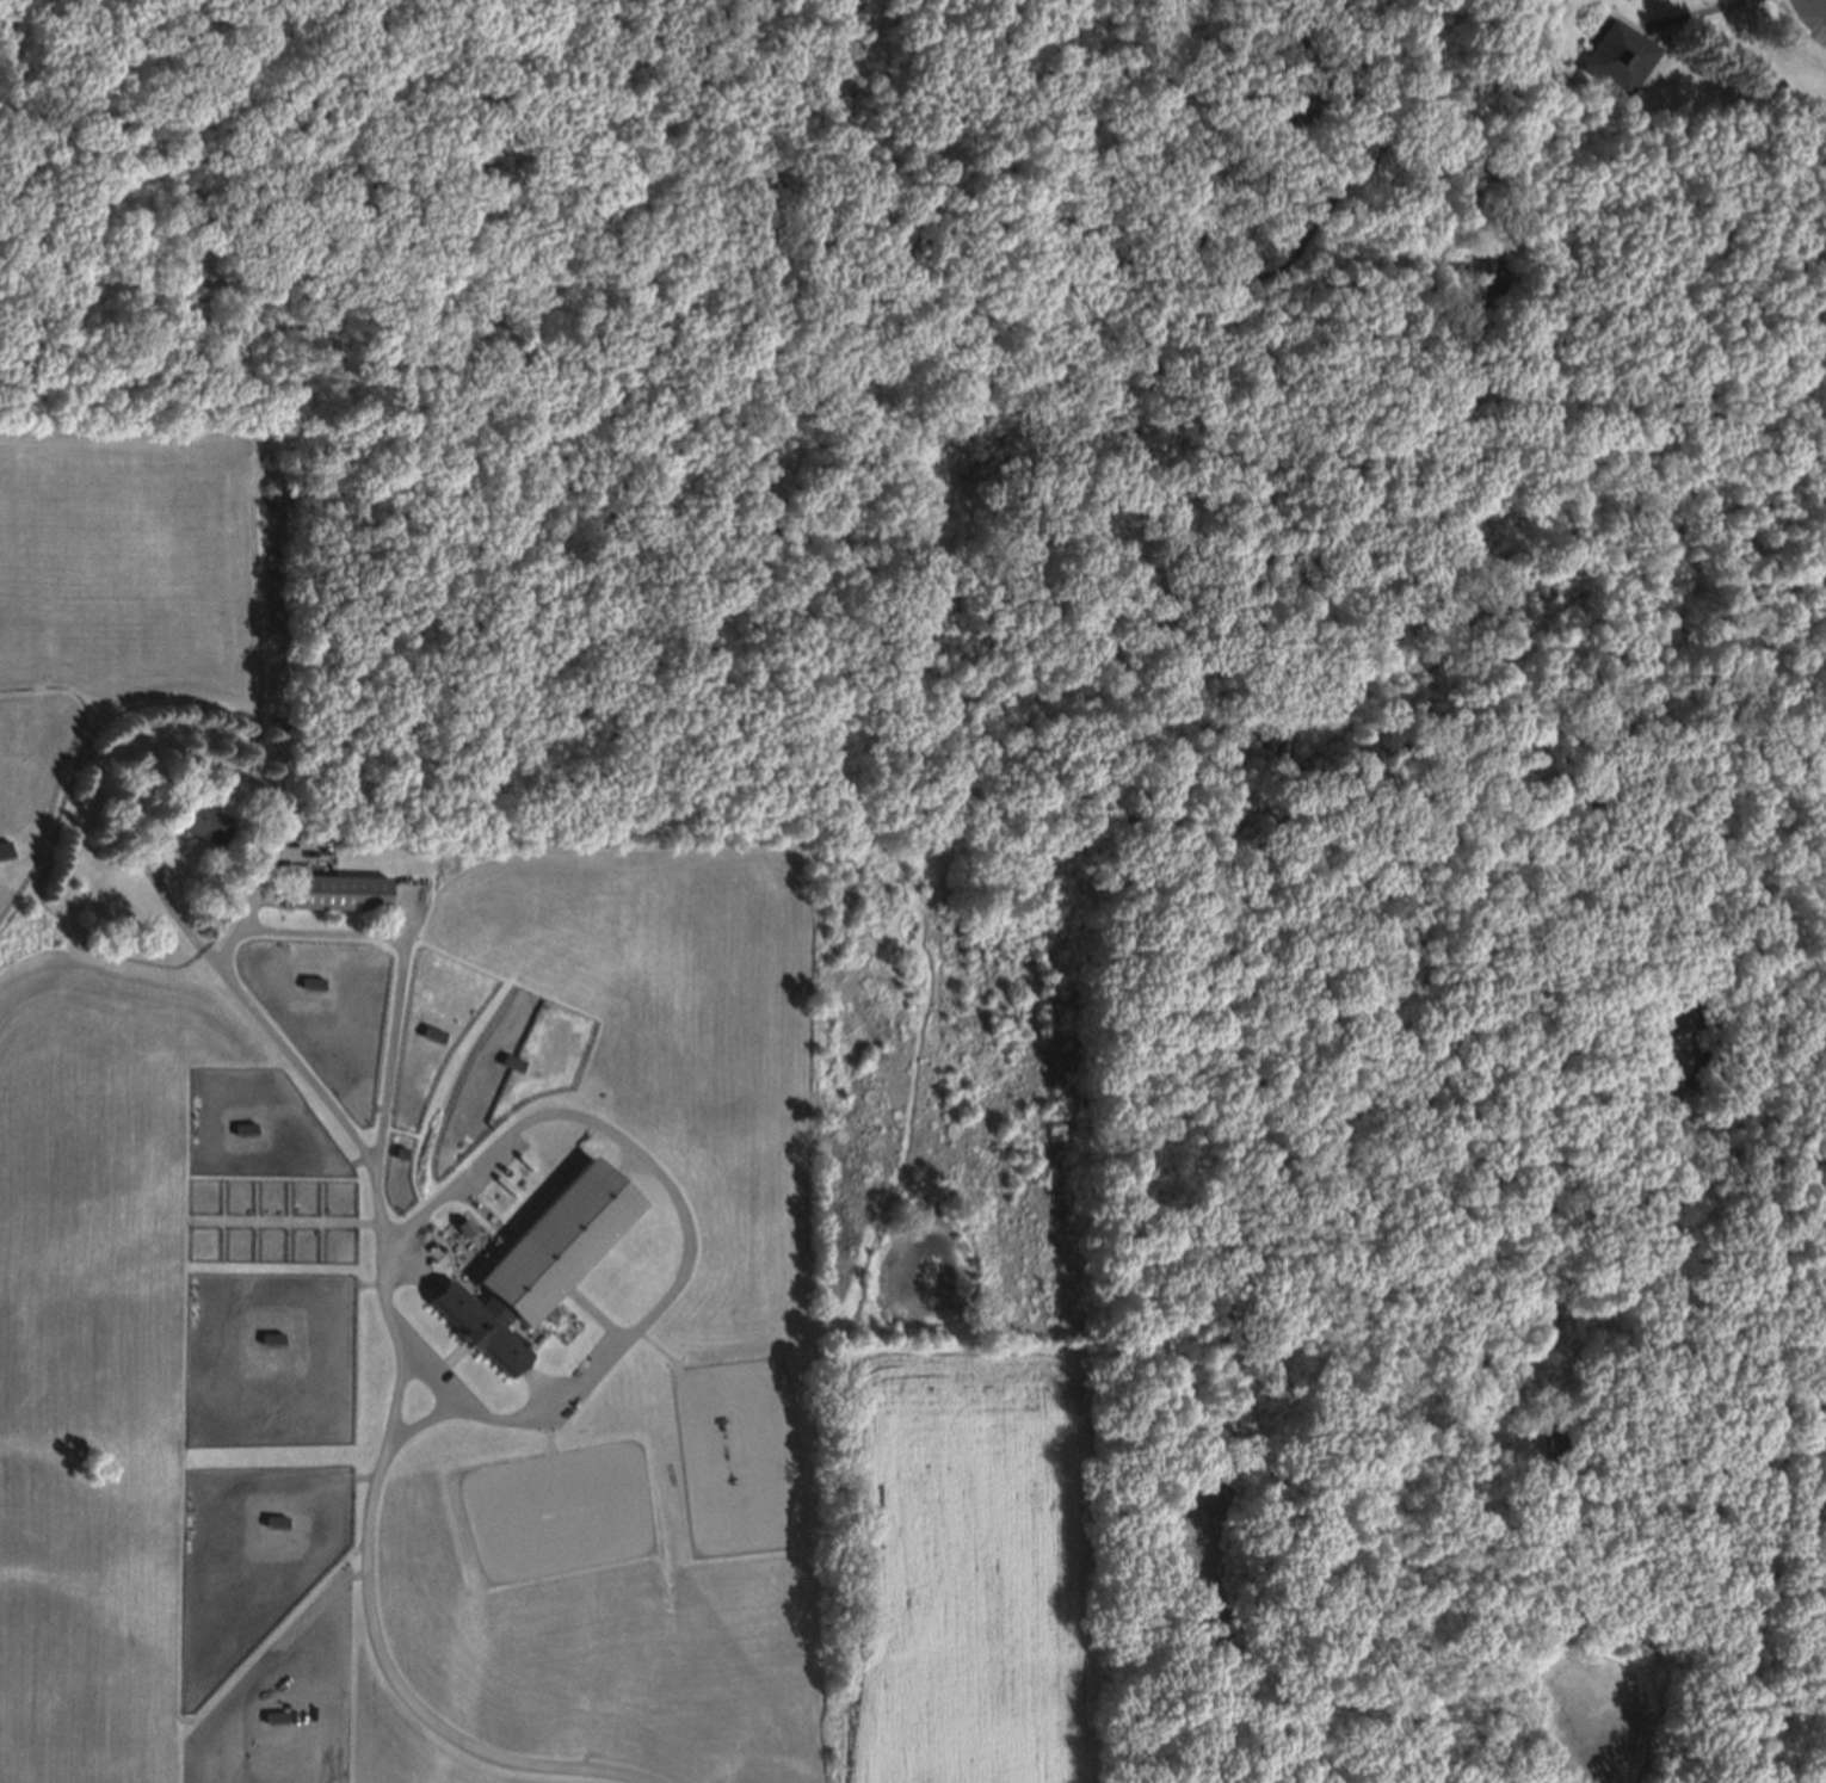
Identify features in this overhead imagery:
parking lot: (1820, 5)
road: (542, 7)
road: (1816, 7)
road: (1689, 16)
building: (1616, 57)
building: (1548, 75)
road: (1546, 125)
road: (613, 205)
road: (1738, 240)
road: (1228, 253)
road: (913, 274)
road: (1326, 345)
road: (1702, 376)
road: (1511, 390)
park: (1025, 455)
road: (711, 637)
building: (193, 819)
building: (2, 845)
building: (328, 893)
road: (1820, 925)
road: (400, 956)
building: (308, 980)
building: (428, 1031)
building: (507, 1060)
building: (241, 1127)
building: (464, 1227)
road: (687, 1232)
building: (535, 1260)
building: (554, 1315)
building: (266, 1337)
road: (442, 1374)
road: (400, 1380)
building: (1556, 1444)
road: (1592, 1455)
building: (1540, 1503)
building: (271, 1520)
building: (1553, 1531)
road: (1726, 1697)
building: (271, 1716)

